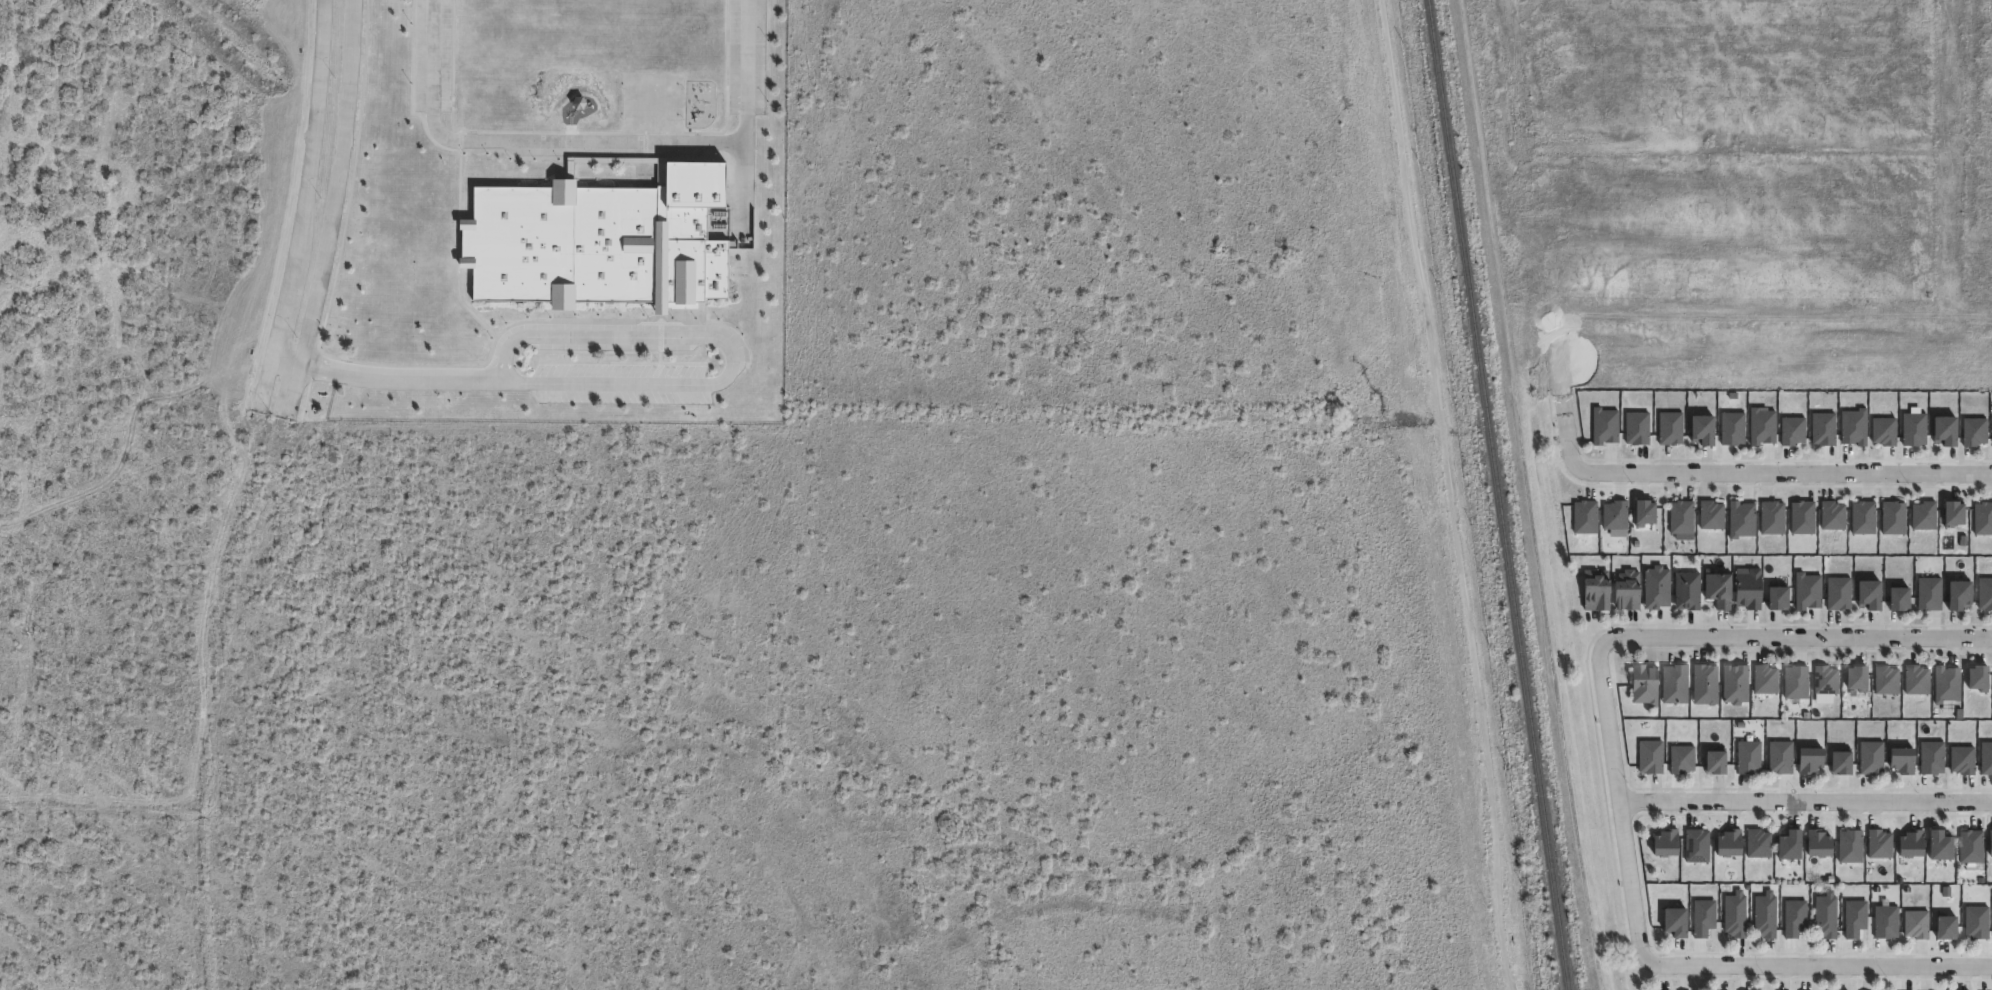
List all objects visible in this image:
road: (596, 142)
road: (307, 176)
road: (338, 179)
building: (601, 240)
road: (729, 348)
road: (375, 377)
road: (265, 379)
road: (295, 386)
building: (1604, 424)
building: (1762, 425)
building: (1854, 425)
building: (1637, 427)
building: (1670, 427)
building: (1702, 427)
building: (1732, 427)
building: (1823, 427)
building: (1914, 428)
building: (1945, 428)
building: (1793, 430)
building: (1884, 430)
building: (1974, 430)
road: (1748, 473)
road: (1446, 494)
railway: (1502, 494)
building: (1644, 511)
building: (1953, 511)
building: (1615, 514)
building: (1832, 514)
building: (1711, 515)
building: (1924, 515)
building: (1584, 516)
building: (1802, 516)
building: (1681, 517)
building: (1772, 517)
building: (1863, 517)
building: (1893, 517)
building: (1983, 518)
building: (1741, 519)
road: (214, 565)
building: (1719, 586)
building: (1656, 587)
building: (1749, 589)
building: (1628, 590)
building: (1687, 590)
building: (1807, 590)
building: (1838, 592)
building: (1985, 592)
building: (1597, 593)
building: (1870, 593)
building: (1929, 593)
building: (1959, 594)
building: (1777, 597)
building: (1899, 597)
road: (1793, 637)
building: (1978, 677)
building: (1856, 678)
building: (1765, 679)
building: (1825, 679)
building: (1886, 679)
building: (1917, 679)
building: (1795, 682)
building: (1675, 683)
building: (1735, 683)
building: (1645, 684)
building: (1705, 684)
building: (1946, 684)
building: (1651, 757)
building: (1748, 757)
building: (1781, 757)
building: (1932, 757)
building: (1872, 758)
building: (1986, 758)
building: (1681, 759)
building: (1963, 759)
building: (1811, 760)
building: (1903, 760)
building: (1716, 762)
building: (1842, 763)
road: (1804, 801)
road: (1618, 809)
building: (1730, 842)
building: (1667, 843)
building: (1759, 843)
building: (1819, 843)
building: (1880, 843)
building: (1991, 843)
building: (1912, 844)
building: (1697, 845)
building: (1791, 845)
building: (1850, 846)
building: (1941, 846)
building: (1971, 846)
building: (1735, 915)
building: (1765, 915)
building: (1826, 916)
building: (1703, 917)
building: (1795, 917)
building: (1855, 918)
building: (1886, 921)
building: (1676, 922)
building: (1977, 922)
building: (1916, 924)
building: (1947, 927)
road: (1822, 965)

